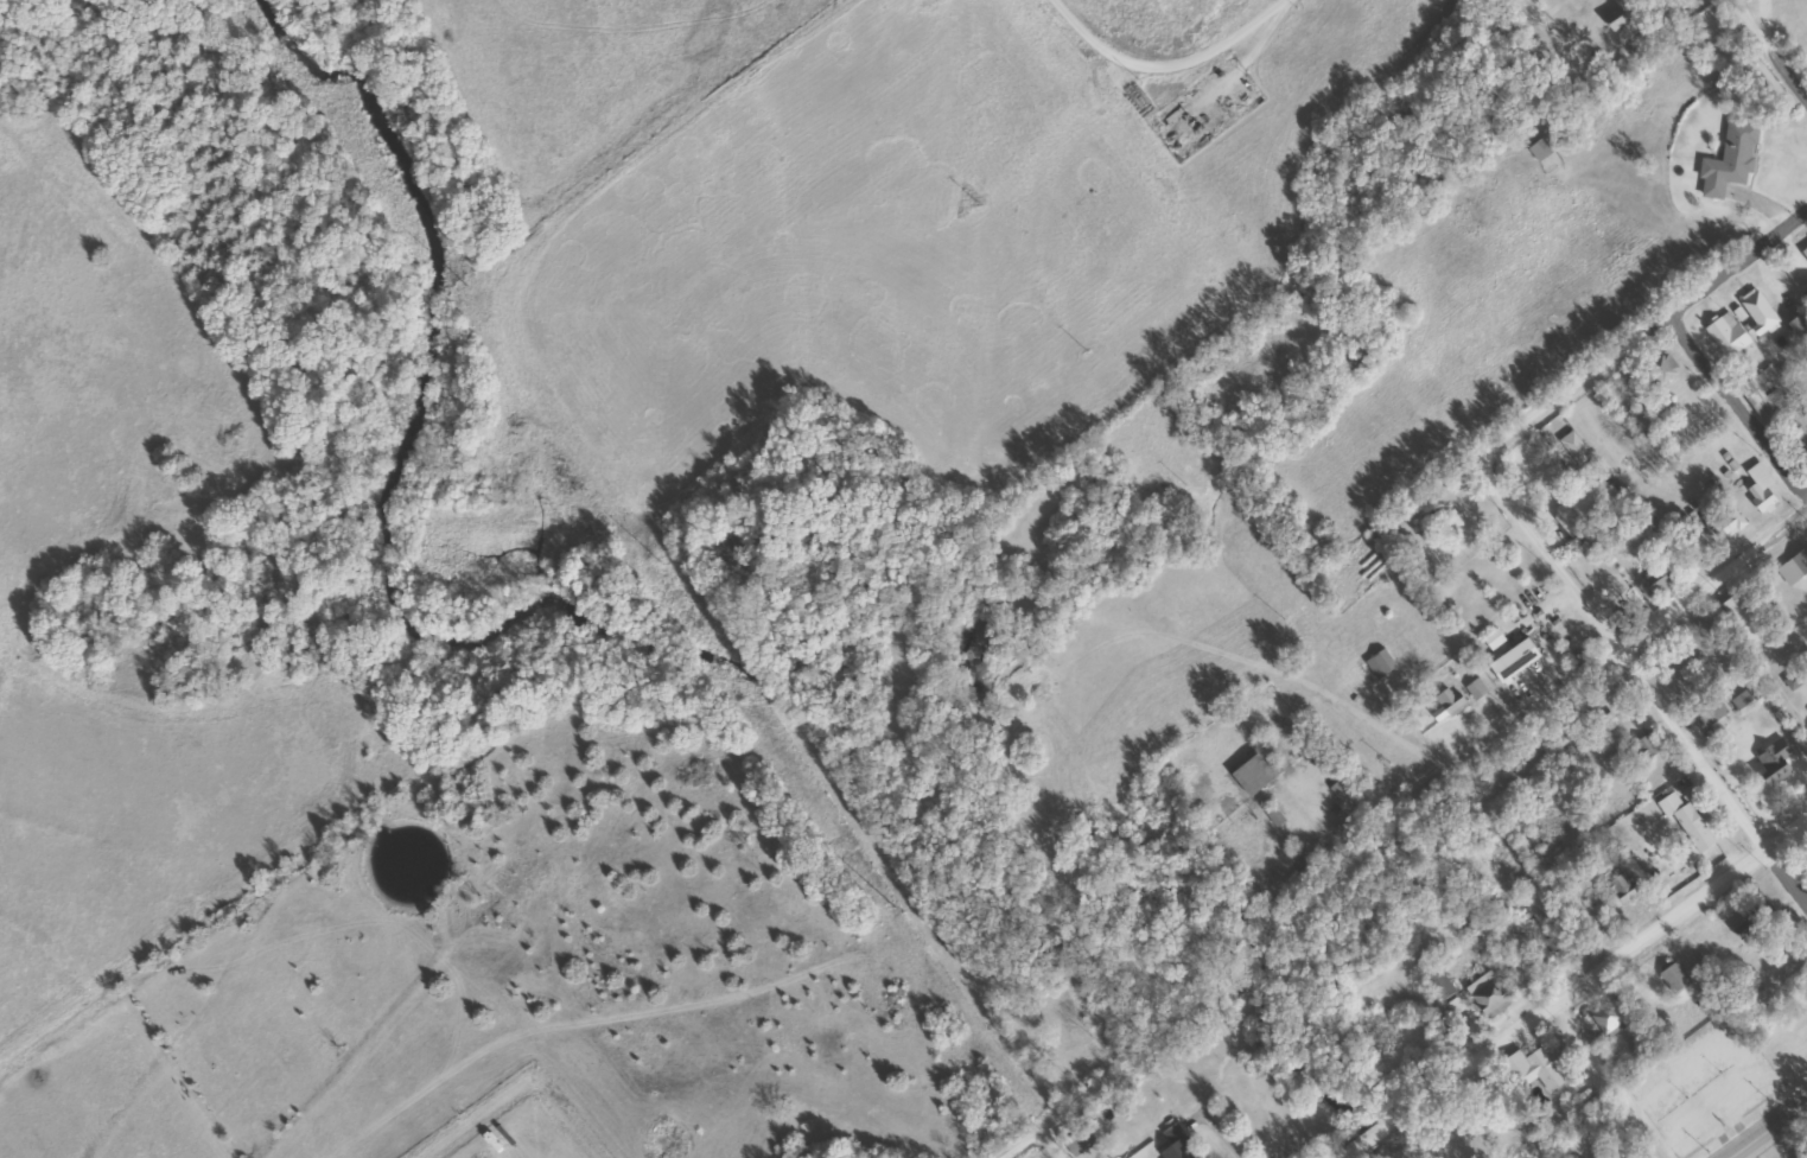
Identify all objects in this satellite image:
building: (1610, 20)
building: (1593, 33)
road: (1770, 49)
building: (1538, 148)
building: (1723, 166)
building: (1756, 313)
building: (1795, 327)
building: (1725, 335)
road: (1639, 343)
building: (1659, 371)
building: (1760, 395)
road: (1739, 403)
building: (1757, 488)
building: (1586, 498)
building: (1728, 521)
building: (1793, 566)
building: (1655, 581)
building: (1735, 610)
building: (1509, 661)
building: (1376, 663)
river: (743, 666)
road: (1639, 692)
building: (1445, 704)
building: (1707, 712)
road: (1539, 723)
building: (1646, 745)
building: (1769, 762)
building: (1254, 771)
building: (1684, 822)
building: (1620, 889)
building: (1754, 924)
building: (1552, 944)
road: (1629, 953)
road: (1232, 972)
building: (1671, 976)
building: (1075, 995)
building: (1487, 999)
building: (1608, 1022)
building: (1788, 1052)
building: (1529, 1070)
road: (1096, 1084)
road: (1611, 1084)
building: (1720, 1089)
road: (1400, 1120)
road: (1768, 1128)
road: (1222, 1138)
road: (1050, 1145)
building: (1173, 1147)

